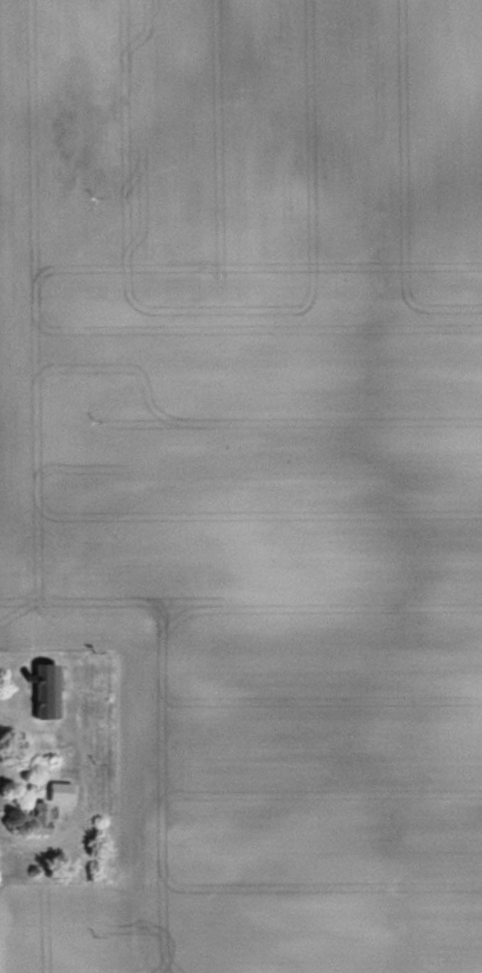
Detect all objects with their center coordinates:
building: (39, 690)
building: (31, 818)

